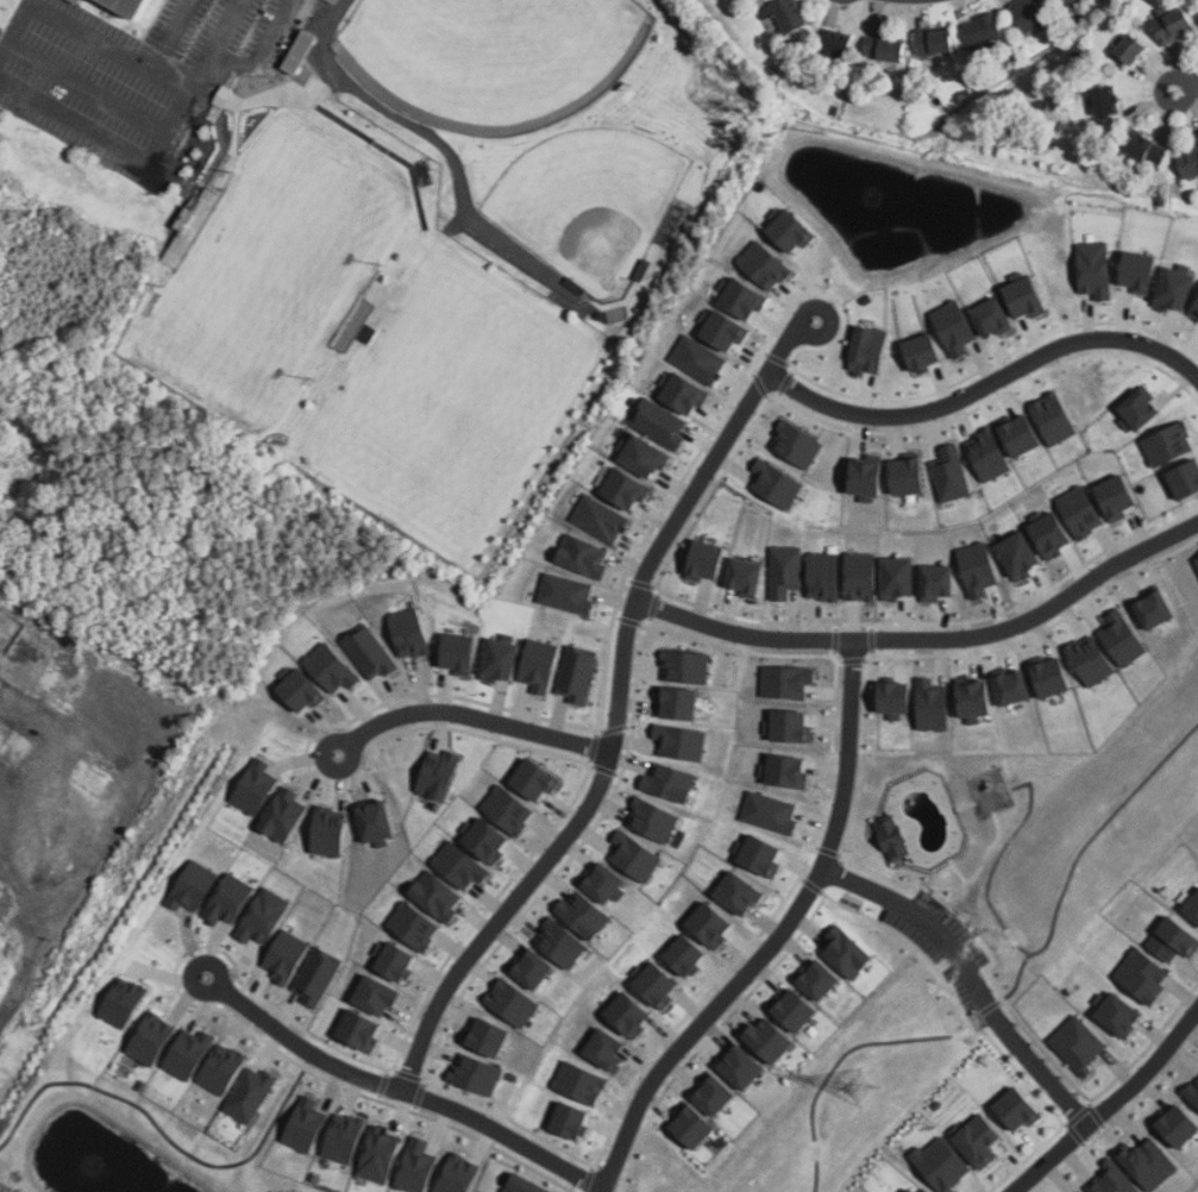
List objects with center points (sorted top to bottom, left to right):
building: (79, 1)
building: (327, 1)
building: (333, 1)
building: (1061, 2)
building: (1071, 2)
building: (109, 6)
building: (131, 6)
building: (785, 13)
building: (1030, 13)
building: (1194, 17)
building: (1174, 21)
building: (983, 29)
building: (936, 40)
road: (101, 43)
building: (836, 43)
road: (2, 44)
building: (884, 48)
building: (1133, 49)
building: (299, 51)
park: (488, 57)
parking lot: (136, 73)
road: (167, 80)
road: (1187, 89)
building: (217, 95)
building: (1105, 101)
road: (151, 125)
building: (1146, 148)
building: (1188, 161)
park: (594, 199)
building: (174, 219)
building: (188, 226)
building: (794, 228)
building: (766, 264)
building: (642, 266)
building: (1098, 269)
building: (1144, 270)
park: (271, 271)
building: (576, 283)
building: (1180, 287)
building: (1030, 295)
building: (745, 297)
building: (868, 299)
building: (1196, 312)
building: (615, 314)
building: (996, 316)
building: (955, 326)
building: (725, 328)
building: (871, 350)
building: (927, 351)
building: (700, 359)
road: (985, 384)
building: (685, 391)
building: (1143, 409)
building: (1058, 419)
building: (660, 422)
building: (1024, 434)
building: (798, 444)
building: (1171, 444)
building: (990, 453)
building: (645, 456)
building: (911, 473)
building: (953, 473)
building: (870, 476)
building: (1187, 479)
building: (777, 482)
building: (629, 488)
building: (1105, 494)
building: (1121, 496)
building: (1084, 510)
building: (602, 519)
building: (1054, 532)
building: (584, 554)
building: (1022, 554)
building: (708, 559)
building: (1194, 562)
building: (979, 567)
building: (785, 571)
building: (748, 576)
building: (824, 576)
building: (863, 576)
building: (901, 577)
building: (940, 581)
building: (567, 594)
building: (1158, 607)
building: (410, 632)
road: (1045, 636)
building: (1124, 638)
road: (928, 639)
road: (1009, 650)
building: (371, 652)
building: (460, 653)
building: (503, 658)
building: (1092, 659)
building: (540, 665)
building: (686, 665)
building: (333, 669)
building: (577, 673)
building: (1053, 676)
building: (788, 682)
building: (1015, 686)
building: (303, 689)
building: (898, 698)
building: (976, 698)
building: (680, 702)
road: (617, 705)
building: (934, 705)
road: (469, 715)
building: (791, 726)
building: (683, 741)
road: (848, 757)
road: (827, 768)
building: (788, 771)
building: (441, 773)
building: (538, 780)
building: (672, 782)
building: (256, 788)
building: (509, 810)
building: (772, 813)
building: (283, 815)
building: (654, 818)
road: (816, 818)
building: (376, 822)
building: (328, 832)
building: (895, 836)
building: (487, 839)
building: (761, 854)
building: (638, 857)
building: (460, 865)
building: (607, 882)
building: (194, 886)
building: (742, 892)
building: (437, 896)
building: (230, 899)
building: (1193, 906)
building: (264, 916)
building: (587, 916)
building: (714, 926)
building: (414, 927)
building: (1174, 939)
building: (563, 942)
building: (849, 951)
building: (689, 955)
building: (287, 956)
road: (25, 960)
building: (397, 961)
building: (535, 970)
building: (318, 975)
road: (972, 975)
building: (1143, 975)
building: (822, 980)
building: (658, 984)
building: (380, 995)
building: (125, 1002)
building: (514, 1002)
building: (796, 1010)
building: (1121, 1012)
building: (632, 1016)
road: (700, 1024)
building: (362, 1030)
building: (490, 1037)
building: (152, 1039)
building: (772, 1041)
building: (1080, 1044)
building: (609, 1049)
building: (190, 1054)
building: (745, 1067)
building: (224, 1068)
building: (478, 1074)
building: (583, 1081)
road: (400, 1087)
power tower: (861, 1087)
building: (1193, 1091)
building: (717, 1093)
building: (252, 1094)
building: (937, 1104)
road: (1111, 1104)
building: (1021, 1110)
building: (573, 1121)
building: (307, 1125)
building: (695, 1127)
building: (1180, 1127)
building: (345, 1138)
building: (981, 1141)
building: (381, 1154)
building: (1150, 1163)
building: (942, 1165)
building: (418, 1166)
building: (459, 1174)
building: (1117, 1179)
building: (528, 1186)
building: (903, 1190)
building: (926, 1190)
building: (914, 1191)
building: (1075, 1191)
building: (1084, 1191)

